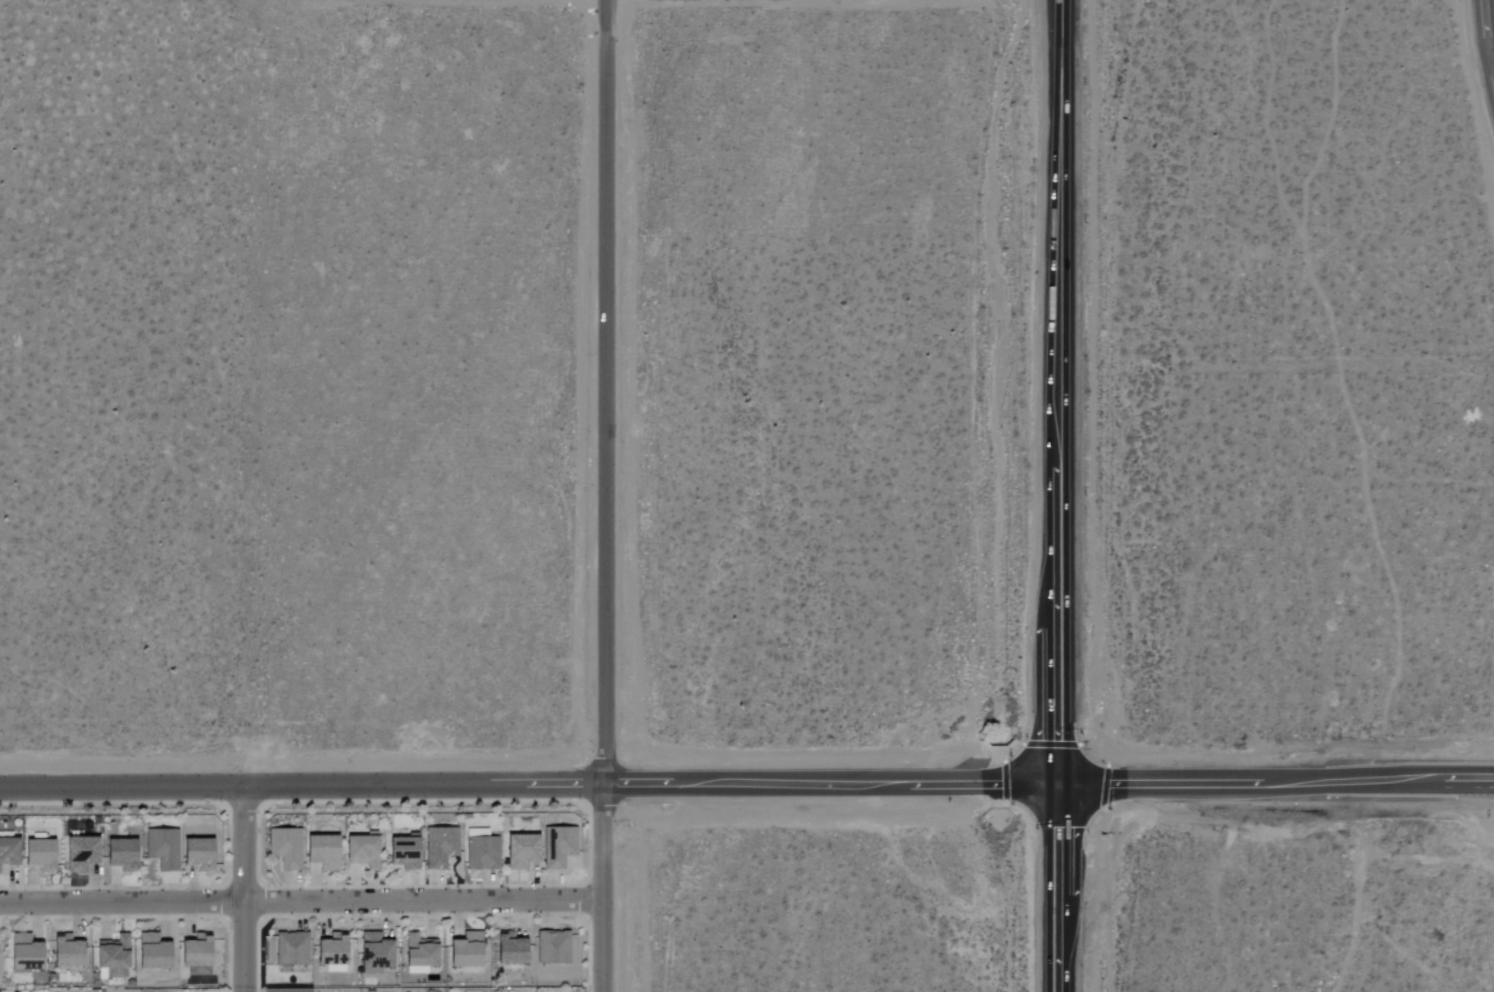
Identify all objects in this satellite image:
road: (1487, 39)
road: (1491, 53)
road: (494, 241)
road: (1061, 388)
road: (325, 454)
road: (605, 496)
road: (1278, 777)
road: (832, 779)
road: (300, 782)
building: (558, 846)
building: (285, 847)
building: (439, 847)
building: (162, 848)
building: (481, 850)
building: (8, 851)
building: (362, 851)
building: (321, 852)
building: (403, 852)
building: (521, 852)
building: (80, 853)
building: (197, 853)
building: (119, 854)
building: (38, 855)
road: (1062, 884)
road: (245, 887)
road: (301, 901)
building: (552, 947)
building: (509, 948)
building: (291, 949)
building: (66, 951)
building: (195, 951)
building: (465, 951)
building: (151, 952)
building: (24, 953)
building: (419, 954)

